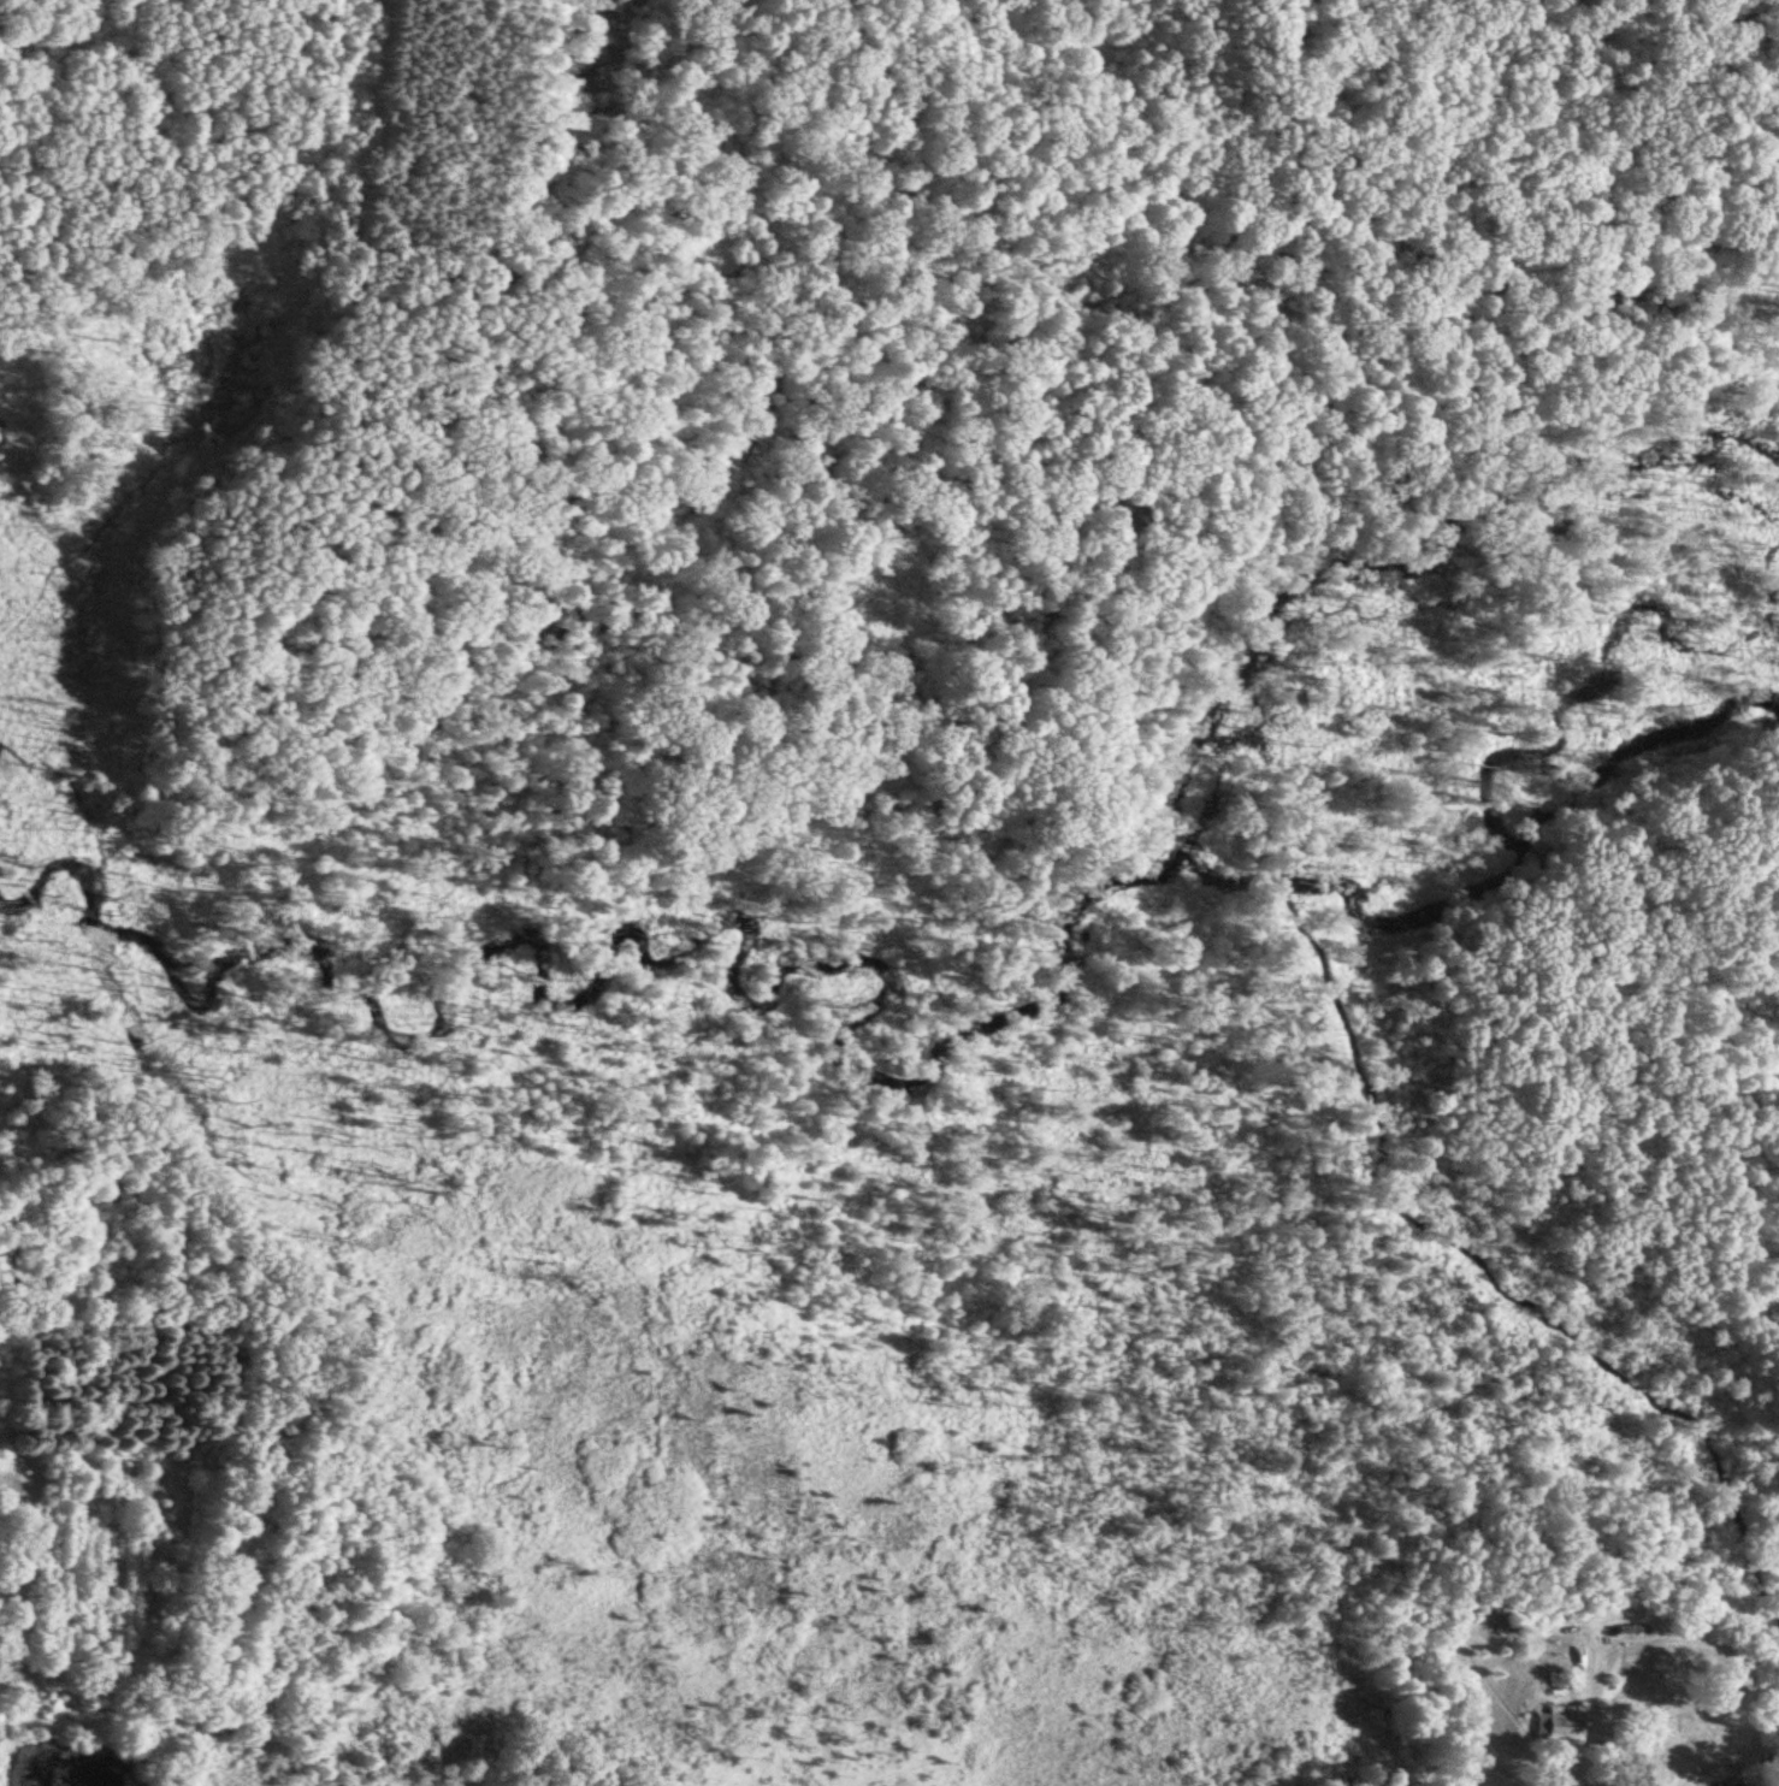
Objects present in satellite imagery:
road: (1649, 29)
road: (1033, 107)
building: (1558, 1721)

